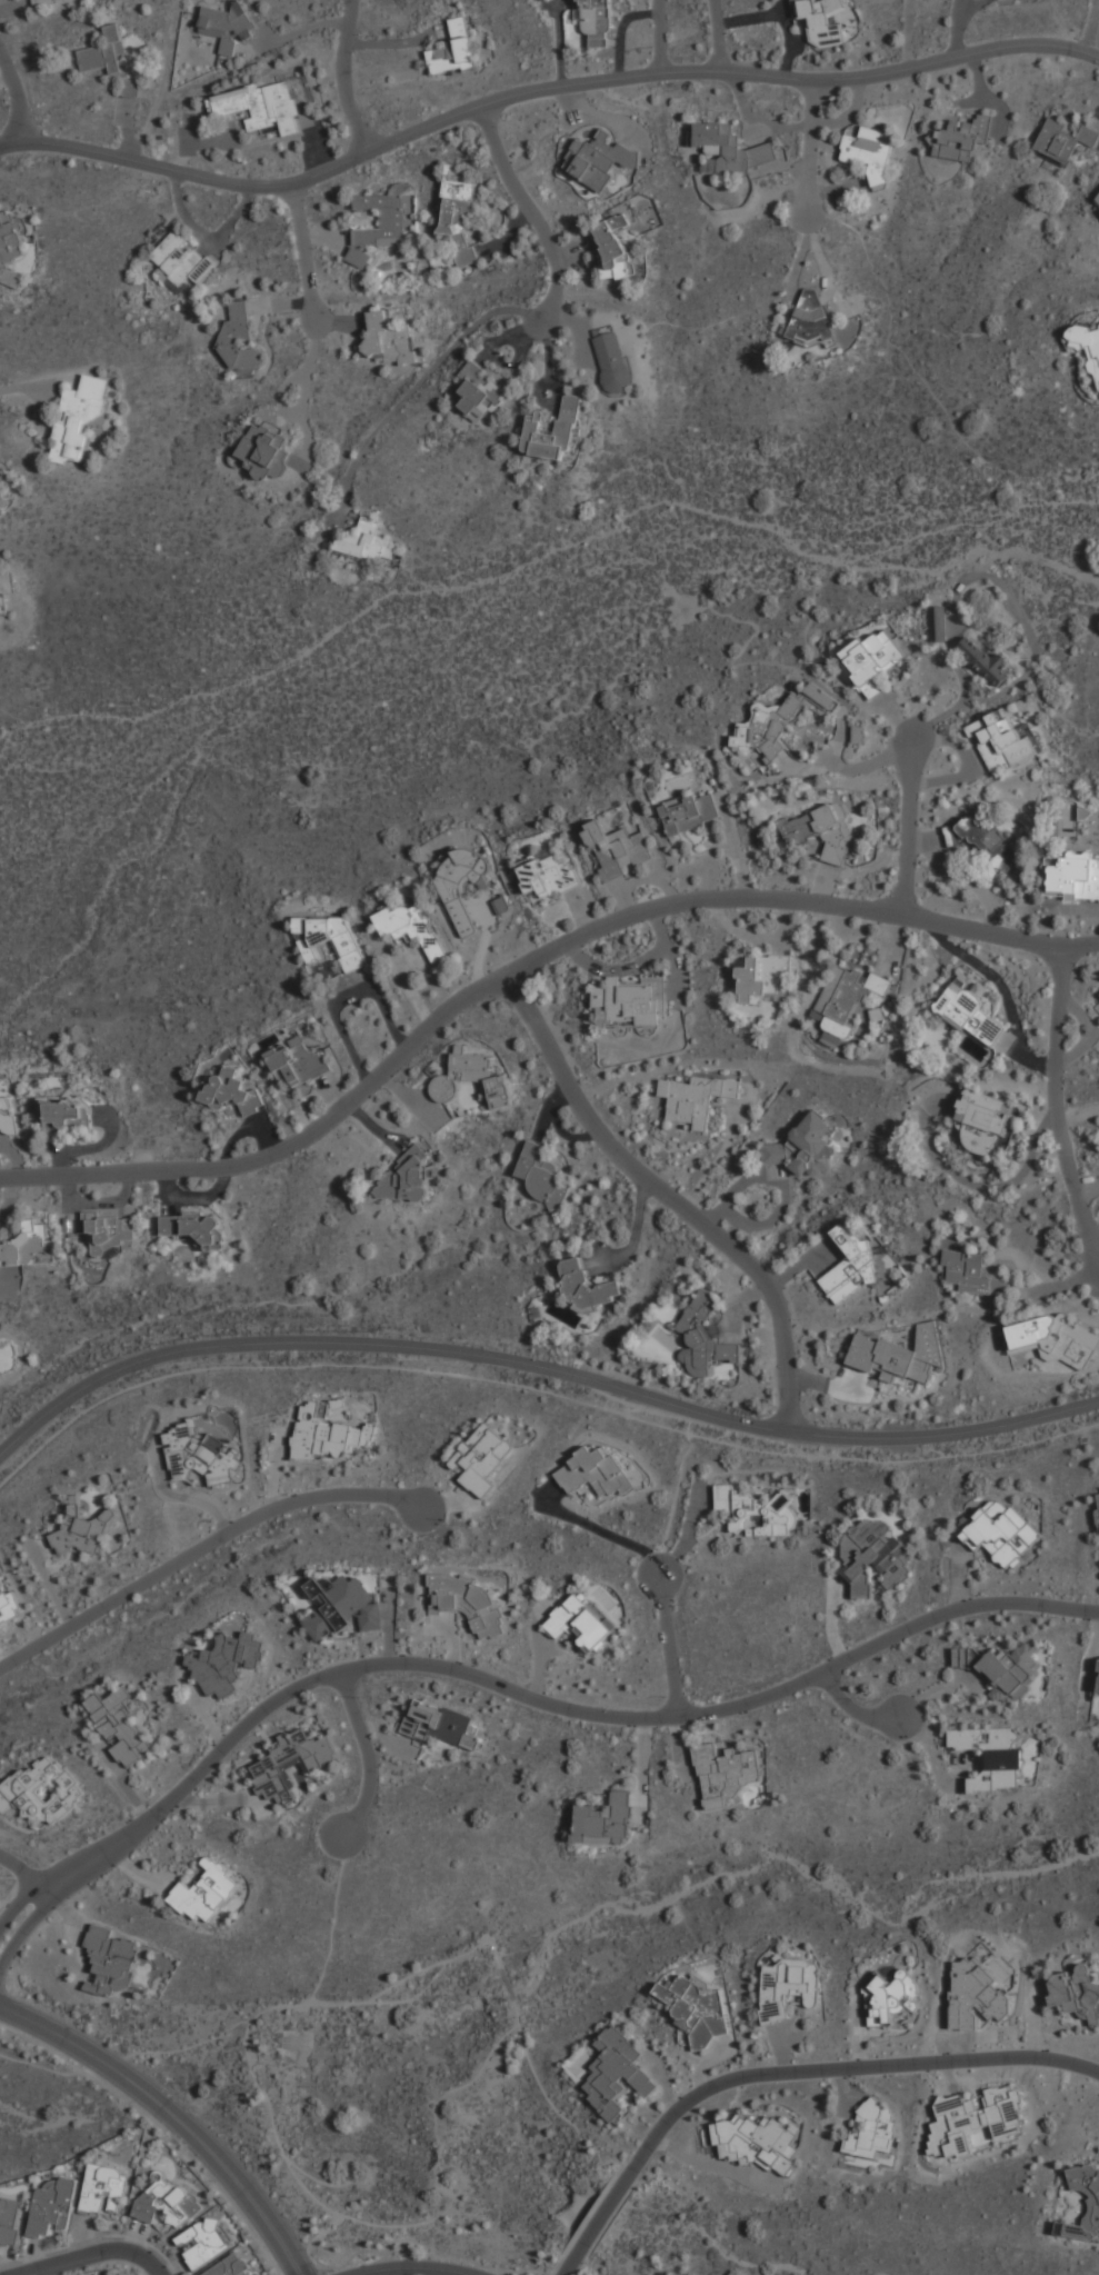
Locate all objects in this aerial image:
building: (1032, 0)
building: (41, 1)
building: (823, 21)
building: (596, 22)
building: (223, 26)
road: (721, 34)
road: (660, 36)
building: (453, 49)
building: (103, 50)
road: (347, 74)
road: (538, 89)
road: (18, 96)
building: (261, 106)
building: (961, 138)
building: (1063, 140)
building: (730, 148)
road: (813, 149)
building: (870, 150)
building: (599, 160)
building: (1096, 198)
building: (458, 218)
building: (382, 220)
building: (12, 236)
building: (612, 252)
building: (359, 257)
road: (304, 259)
building: (178, 260)
road: (528, 313)
building: (809, 320)
building: (239, 337)
building: (389, 337)
building: (1086, 339)
road: (311, 357)
building: (612, 362)
road: (24, 387)
building: (479, 393)
building: (79, 418)
building: (552, 430)
building: (264, 450)
building: (363, 541)
building: (2, 602)
building: (938, 622)
building: (872, 656)
building: (985, 661)
building: (782, 719)
building: (1001, 740)
building: (690, 812)
road: (909, 827)
building: (821, 831)
building: (987, 840)
building: (616, 848)
building: (549, 875)
building: (1072, 878)
building: (462, 882)
building: (412, 927)
road: (999, 936)
building: (329, 939)
building: (760, 977)
building: (850, 995)
building: (630, 1001)
building: (1097, 1002)
building: (970, 1012)
road: (443, 1021)
building: (299, 1062)
building: (472, 1078)
building: (232, 1091)
building: (697, 1098)
road: (1061, 1104)
building: (985, 1111)
building: (8, 1112)
building: (64, 1112)
building: (805, 1147)
building: (539, 1171)
building: (406, 1178)
road: (647, 1178)
building: (191, 1228)
building: (108, 1234)
building: (29, 1246)
building: (850, 1268)
building: (973, 1273)
building: (587, 1286)
building: (703, 1338)
building: (1051, 1339)
building: (899, 1355)
road: (539, 1367)
road: (537, 1388)
road: (789, 1398)
building: (324, 1433)
building: (199, 1455)
building: (481, 1458)
building: (595, 1471)
road: (677, 1496)
building: (1097, 1506)
building: (756, 1511)
road: (688, 1528)
building: (82, 1529)
road: (599, 1529)
building: (1002, 1533)
road: (201, 1548)
building: (875, 1556)
building: (469, 1602)
building: (10, 1607)
building: (341, 1607)
building: (582, 1620)
road: (670, 1637)
building: (226, 1663)
building: (1001, 1670)
building: (1098, 1680)
road: (543, 1702)
road: (855, 1709)
building: (439, 1724)
building: (119, 1726)
road: (369, 1755)
building: (992, 1756)
building: (290, 1762)
building: (726, 1773)
building: (42, 1790)
building: (605, 1820)
road: (23, 1870)
road: (18, 1886)
building: (206, 1895)
road: (19, 1902)
road: (23, 1929)
building: (111, 1960)
road: (406, 1978)
building: (789, 1987)
building: (1076, 1993)
building: (885, 1998)
road: (404, 1999)
building: (697, 2007)
road: (59, 2035)
road: (481, 2067)
road: (842, 2068)
building: (617, 2072)
building: (975, 2119)
road: (159, 2126)
road: (273, 2127)
building: (873, 2131)
building: (760, 2142)
road: (440, 2153)
road: (218, 2162)
road: (316, 2179)
building: (106, 2189)
building: (168, 2203)
building: (52, 2207)
building: (1093, 2207)
building: (10, 2222)
road: (369, 2223)
road: (597, 2226)
building: (204, 2243)
road: (67, 2257)
road: (146, 2259)
road: (489, 2268)
road: (412, 2269)

